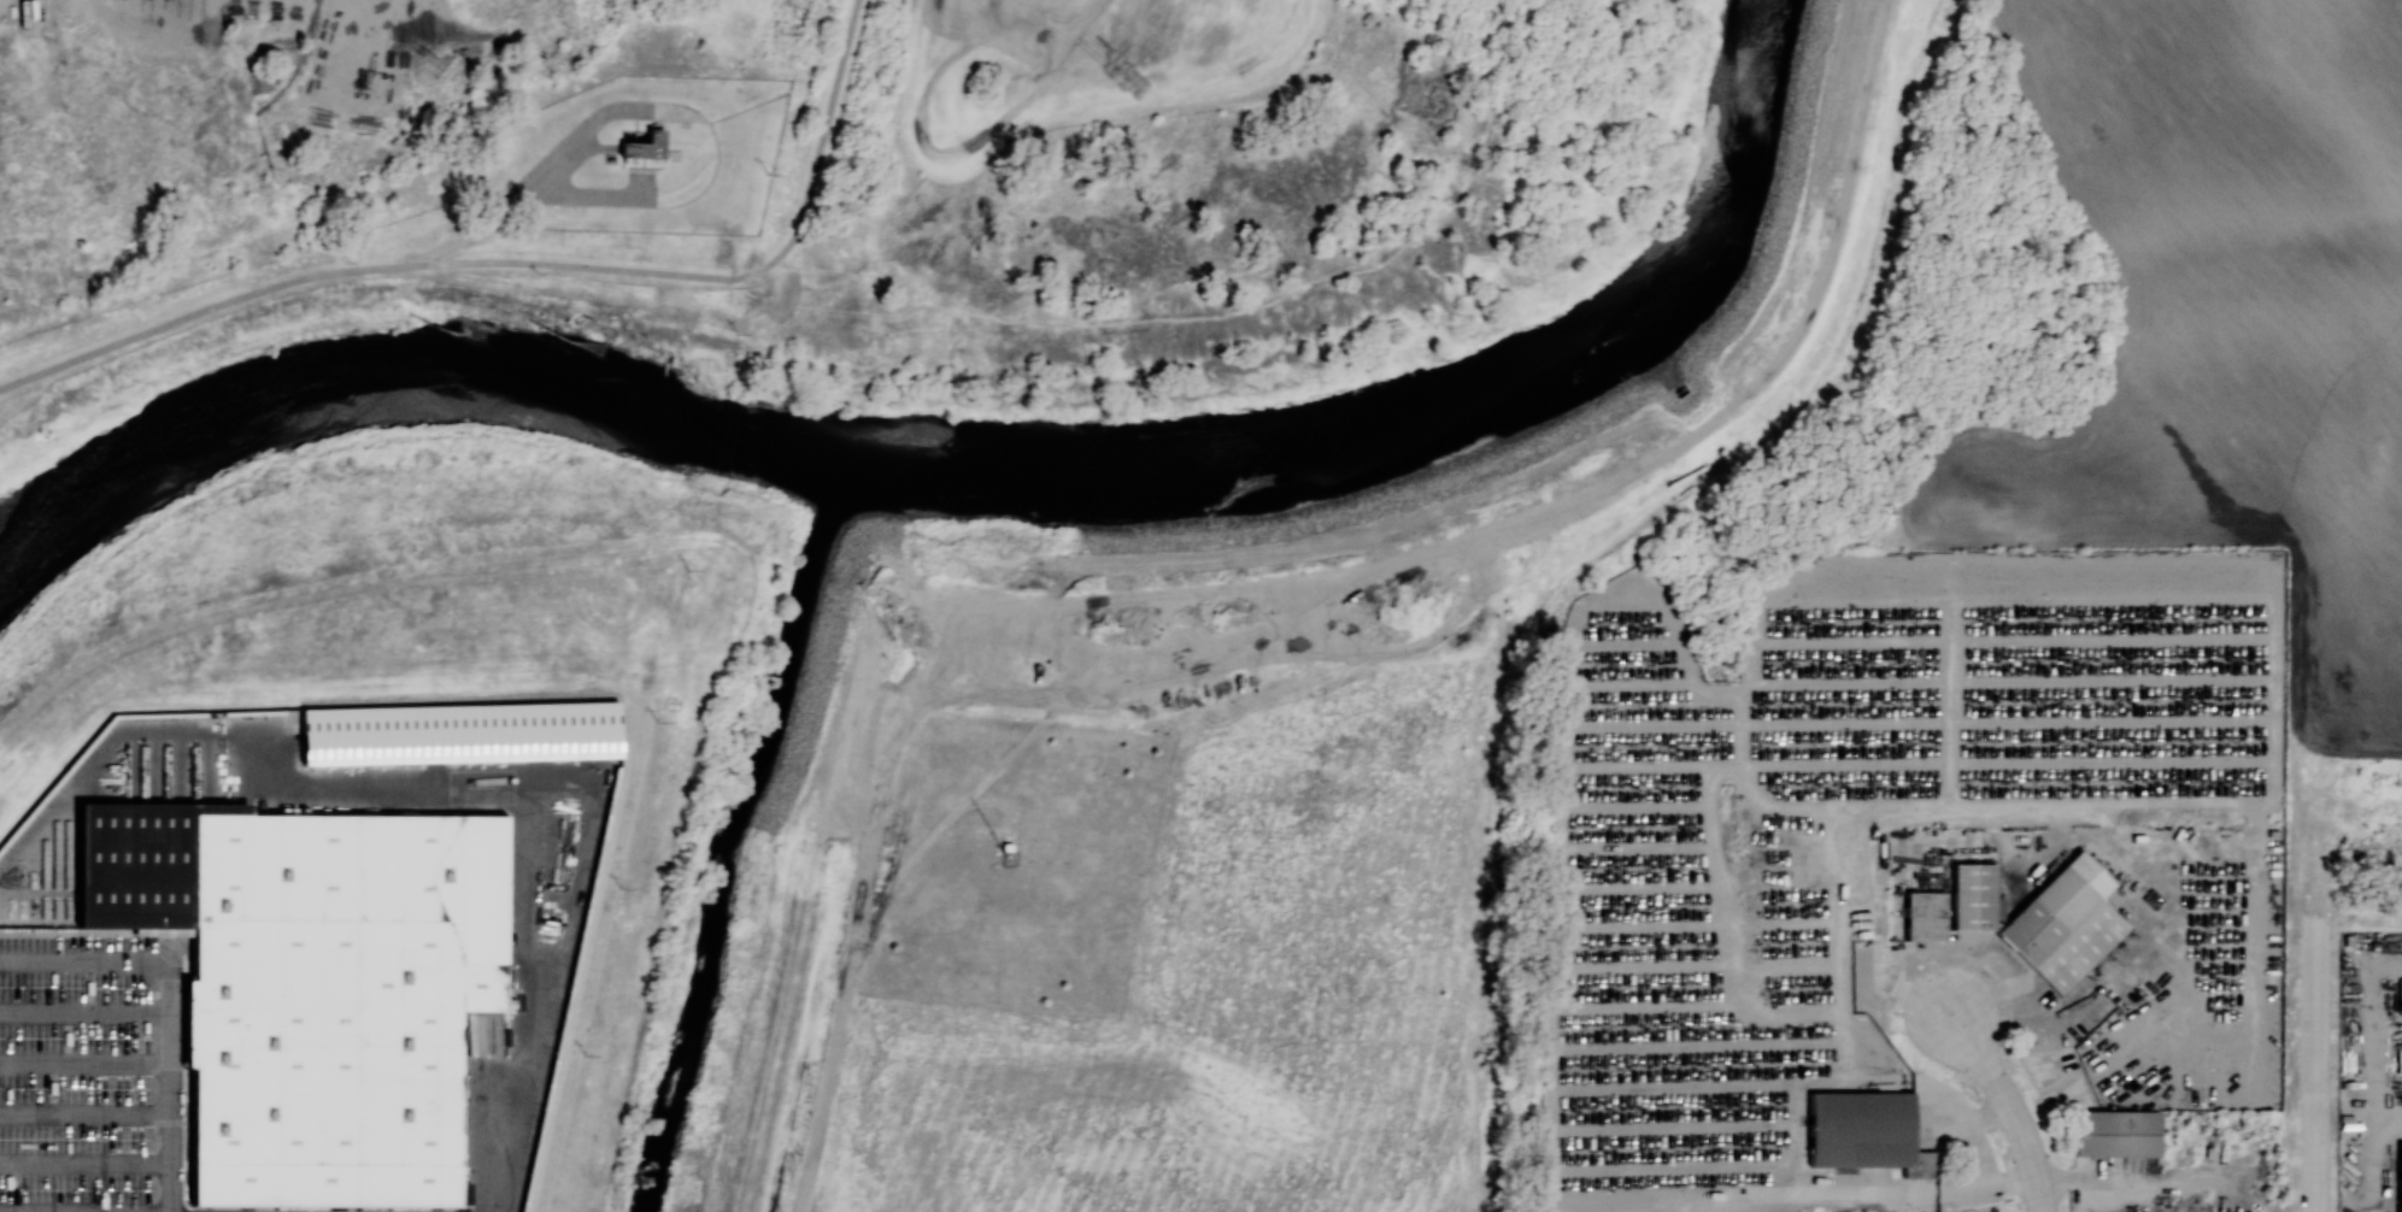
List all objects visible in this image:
road: (826, 119)
building: (644, 145)
road: (393, 265)
river: (980, 470)
building: (459, 733)
river: (729, 831)
building: (99, 867)
building: (1974, 898)
building: (1924, 916)
building: (2063, 923)
road: (84, 960)
building: (337, 1005)
road: (2073, 1008)
road: (84, 1010)
road: (84, 1061)
road: (2316, 1065)
road: (170, 1085)
road: (2007, 1107)
road: (84, 1111)
building: (1858, 1129)
building: (2115, 1132)
road: (84, 1161)
building: (1920, 1164)
building: (2398, 1177)
road: (86, 1211)

